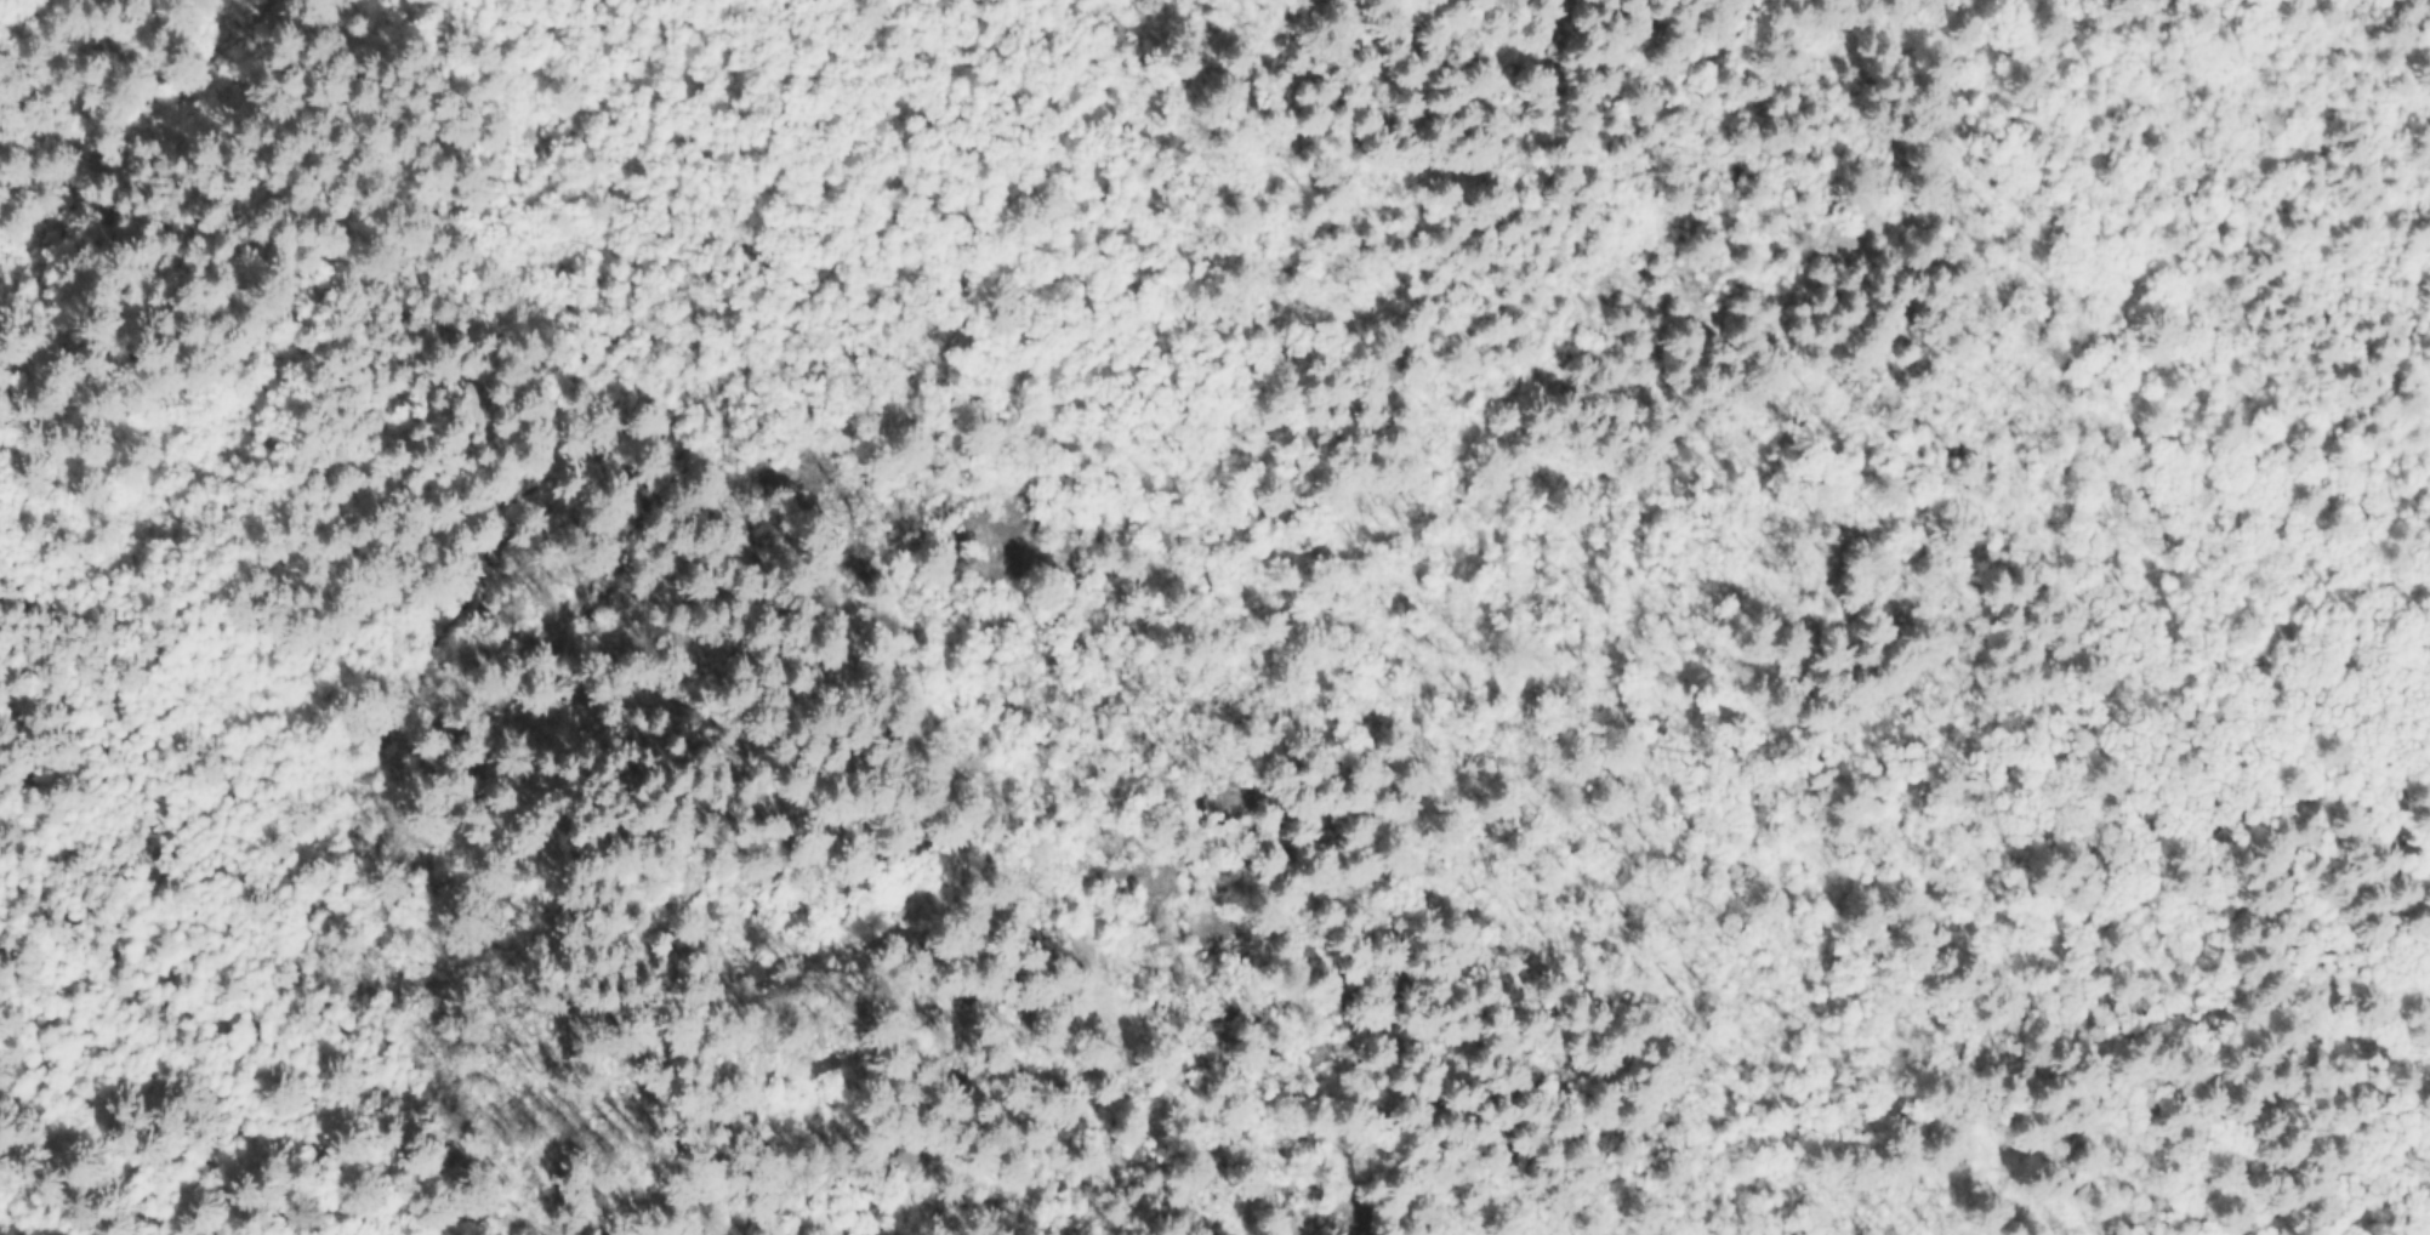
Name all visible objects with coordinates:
road: (263, 938)
road: (279, 1156)

